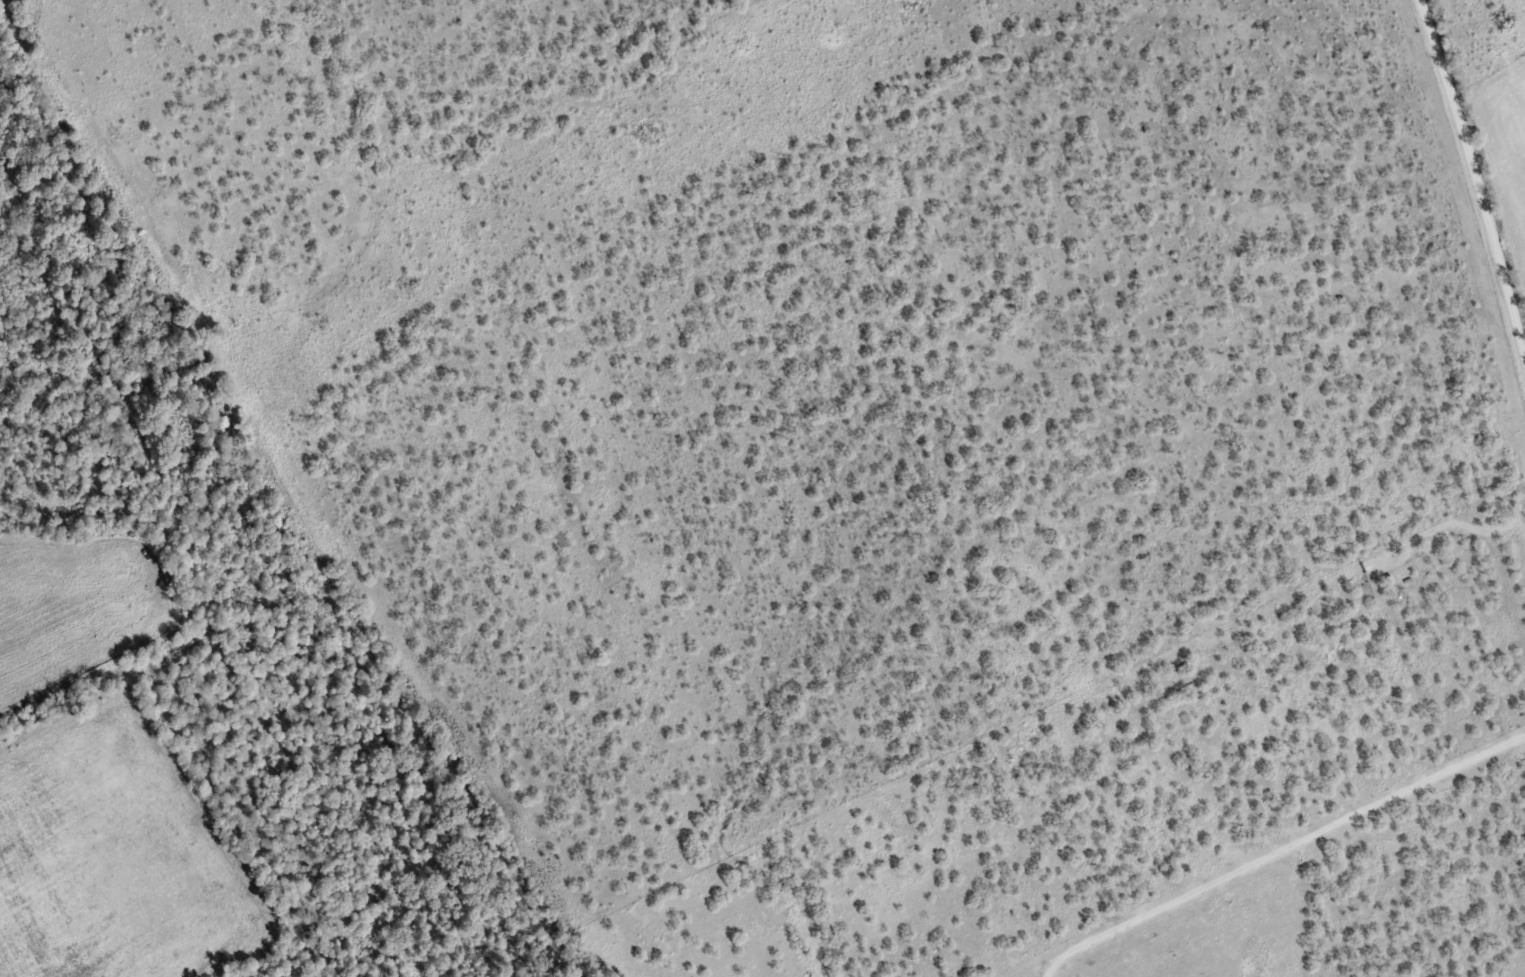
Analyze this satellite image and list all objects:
road: (1478, 168)
road: (137, 591)

